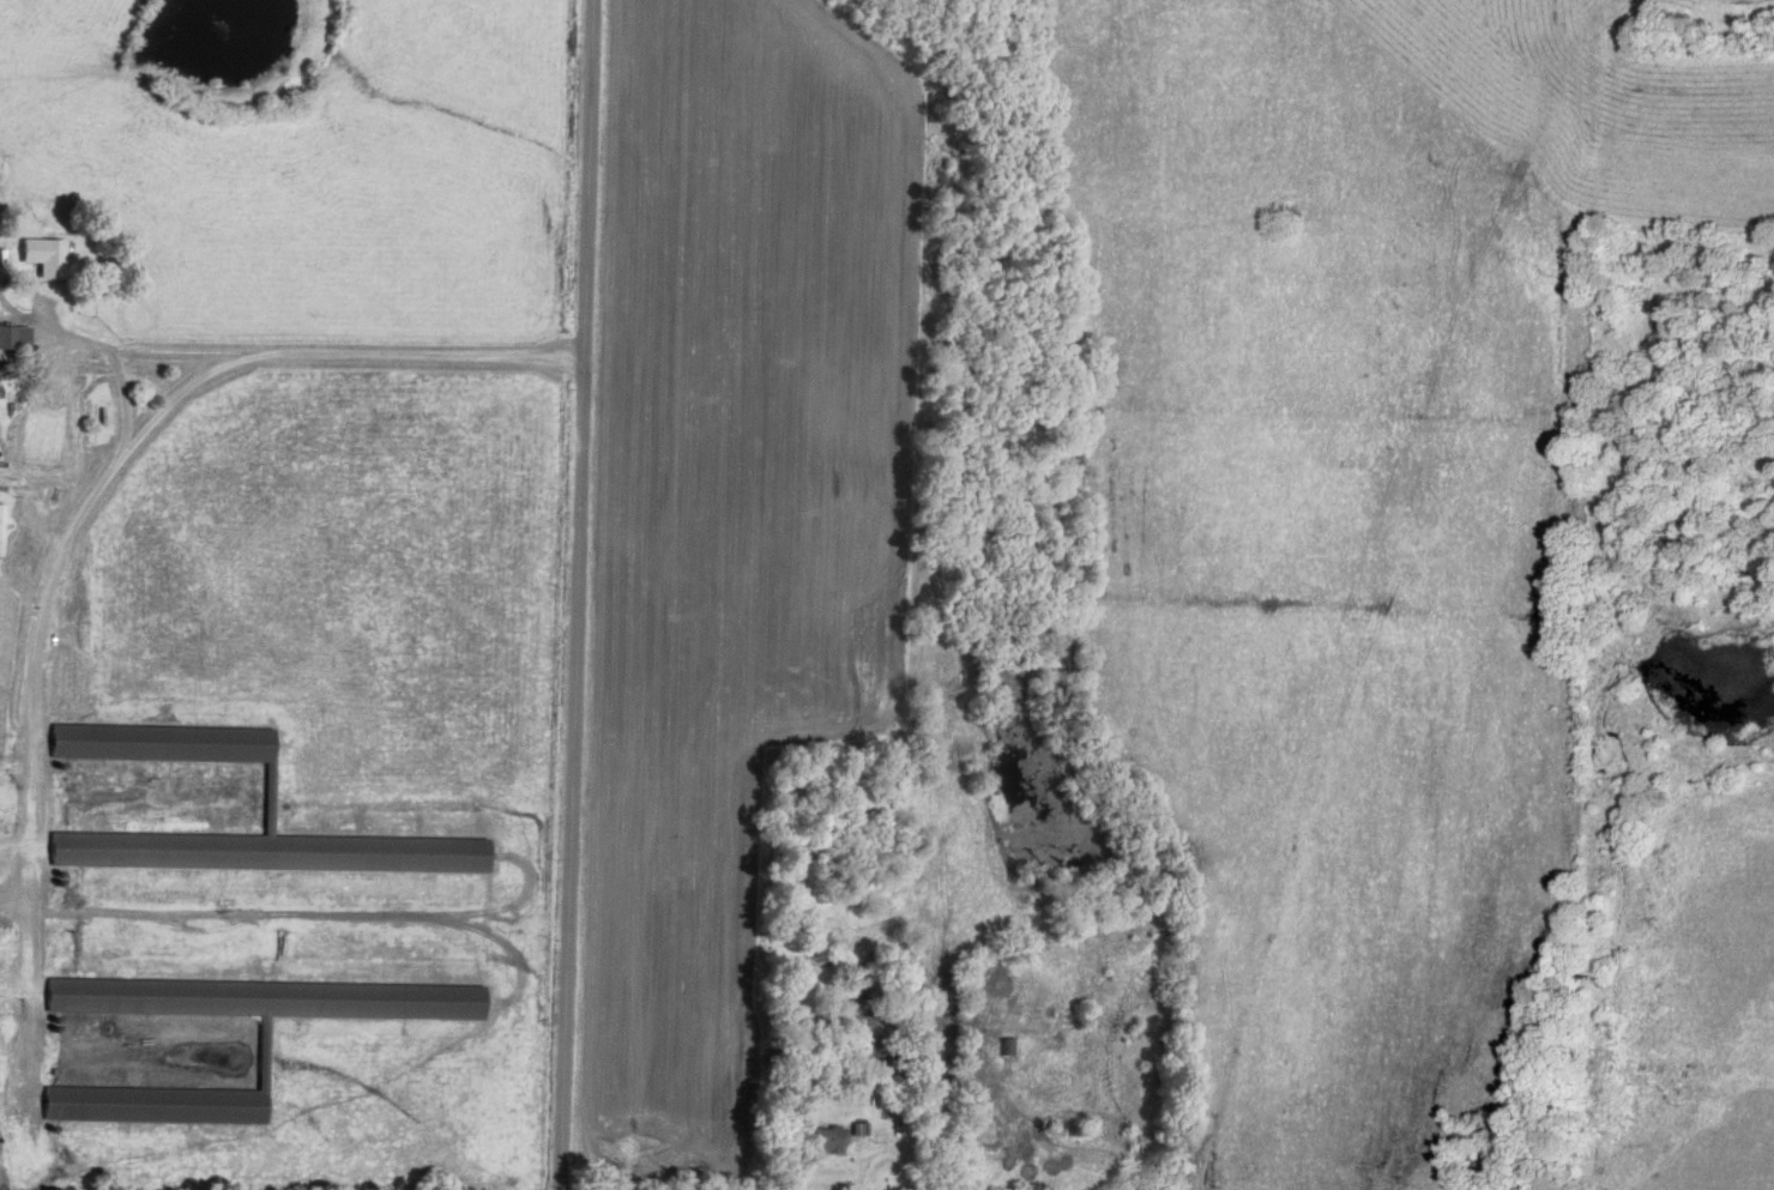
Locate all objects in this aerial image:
building: (49, 252)
building: (16, 332)
road: (169, 352)
road: (115, 367)
road: (70, 539)
road: (569, 594)
building: (167, 738)
building: (273, 847)
building: (270, 995)
building: (161, 1100)
building: (820, 1136)

